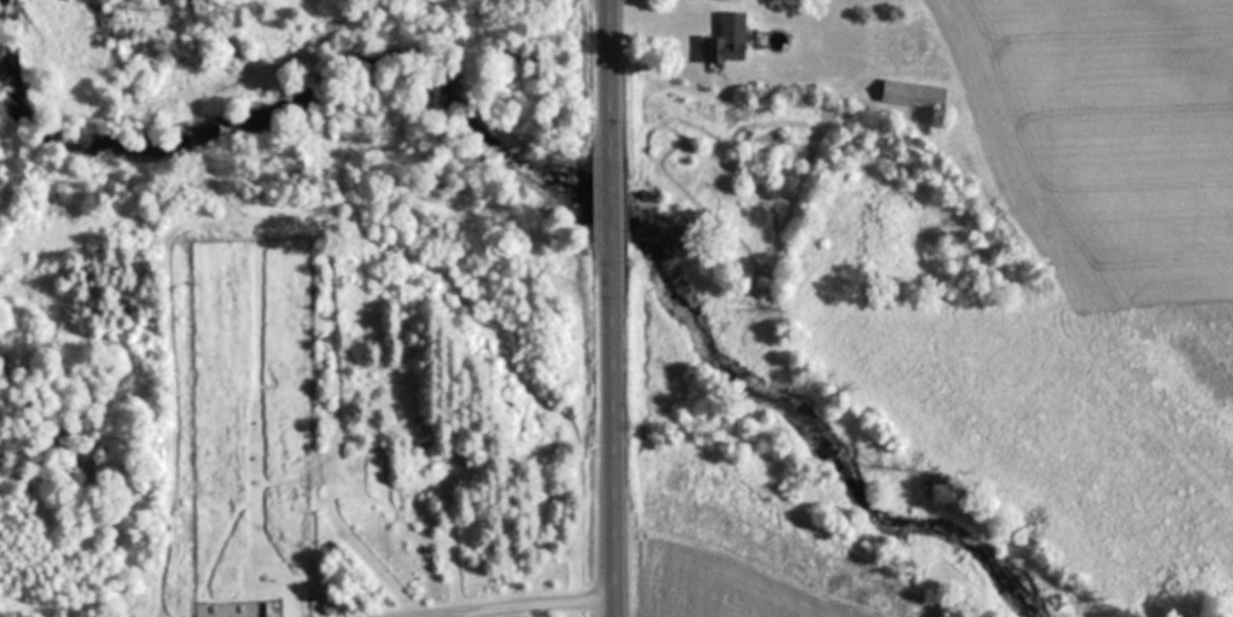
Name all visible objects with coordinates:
building: (326, 36)
building: (722, 41)
building: (908, 95)
river: (566, 186)
road: (617, 308)
building: (269, 609)

